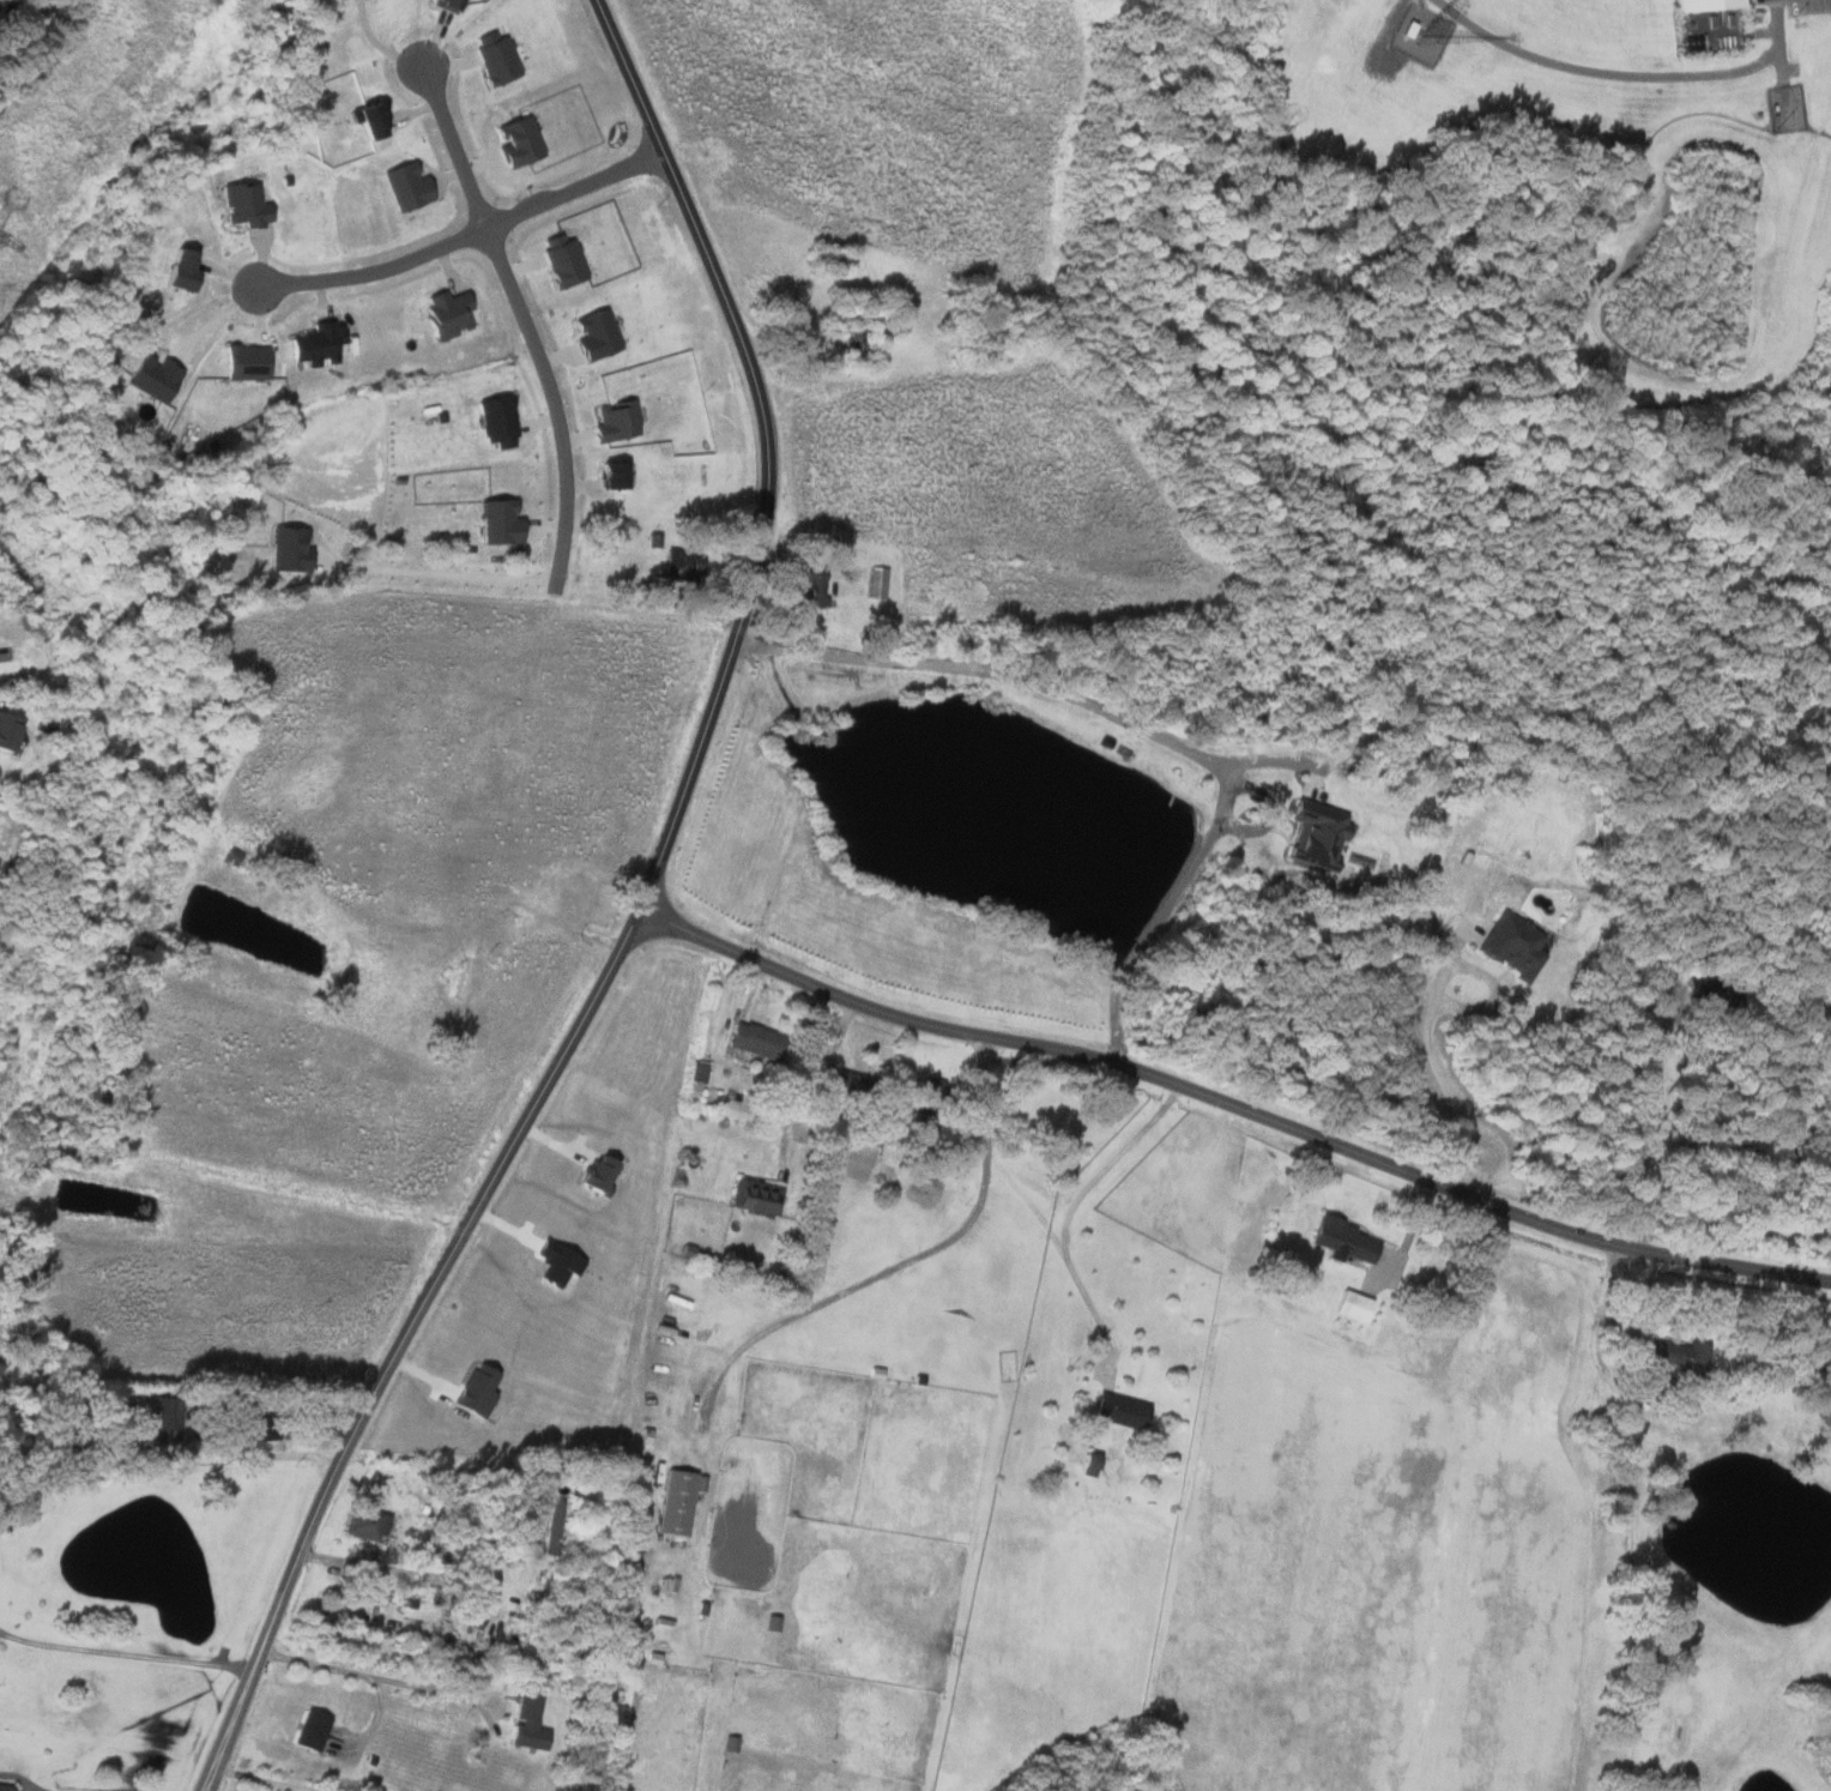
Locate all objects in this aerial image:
building: (1700, 4)
building: (442, 5)
building: (493, 56)
building: (516, 141)
road: (448, 147)
building: (404, 187)
building: (244, 205)
road: (465, 228)
building: (826, 258)
building: (562, 260)
building: (175, 269)
building: (445, 315)
building: (594, 334)
building: (314, 345)
building: (243, 363)
building: (151, 378)
road: (552, 399)
building: (495, 421)
building: (616, 423)
building: (609, 476)
building: (497, 524)
building: (288, 550)
road: (453, 566)
building: (683, 569)
building: (876, 583)
building: (811, 587)
road: (6, 656)
road: (1144, 728)
building: (5, 732)
building: (1315, 832)
road: (637, 921)
building: (1511, 945)
building: (1712, 991)
building: (753, 1039)
road: (800, 1069)
road: (1439, 1078)
building: (838, 1080)
road: (1233, 1108)
road: (1644, 1127)
building: (755, 1196)
road: (1069, 1211)
building: (1340, 1240)
road: (898, 1260)
building: (1352, 1305)
building: (1675, 1355)
building: (1118, 1411)
building: (253, 1428)
road: (286, 1449)
building: (1088, 1464)
building: (675, 1502)
road: (1589, 1509)
building: (370, 1524)
building: (551, 1527)
road: (429, 1576)
road: (126, 1653)
road: (380, 1677)
building: (532, 1721)
building: (315, 1730)
road: (282, 1774)
road: (83, 1786)
building: (4, 1787)

